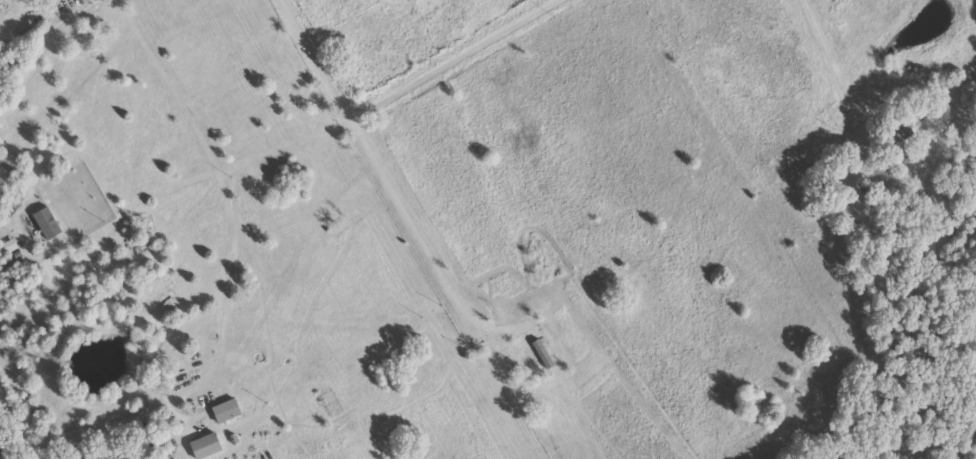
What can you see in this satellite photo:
road: (451, 57)
road: (697, 96)
road: (376, 156)
building: (542, 353)
building: (225, 410)
road: (18, 427)
building: (205, 445)

